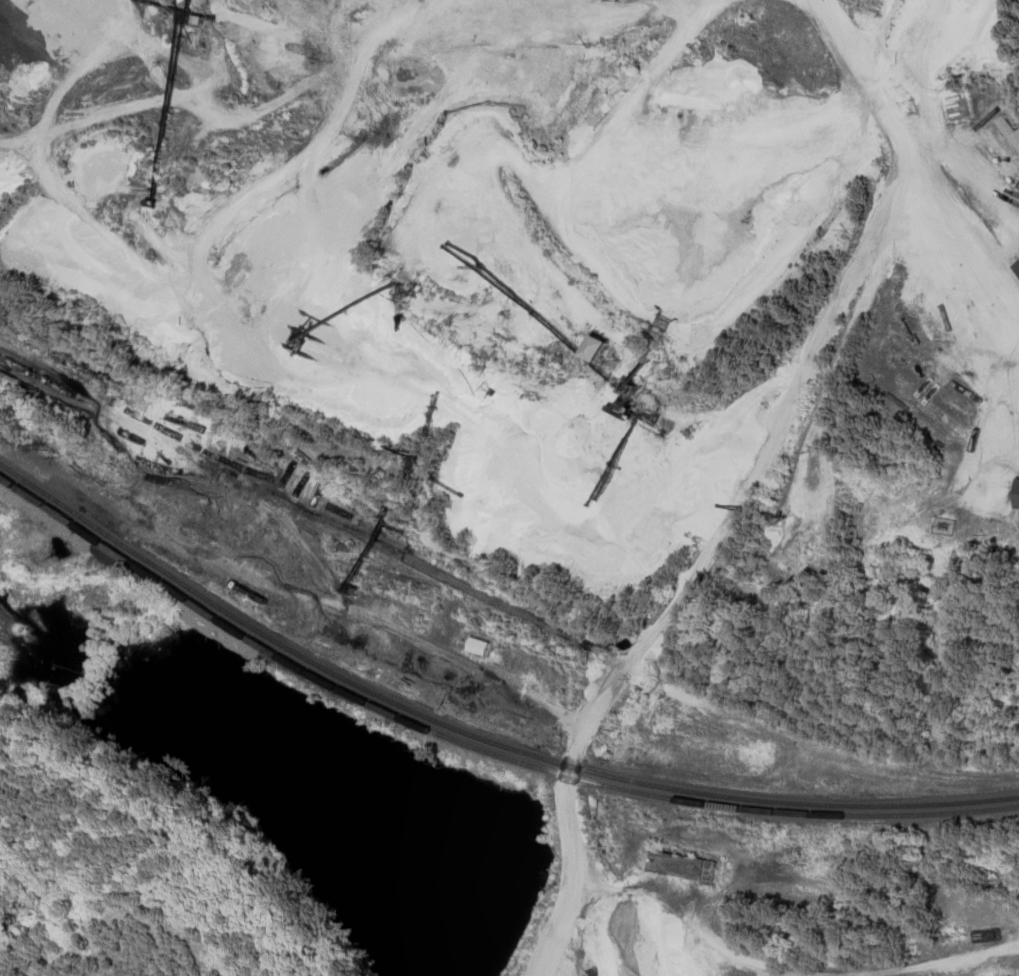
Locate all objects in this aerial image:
road: (587, 15)
building: (1009, 132)
building: (1016, 269)
building: (596, 350)
building: (1017, 495)
railway: (141, 504)
road: (770, 511)
building: (479, 647)
railway: (476, 736)
railway: (477, 747)
building: (684, 867)

